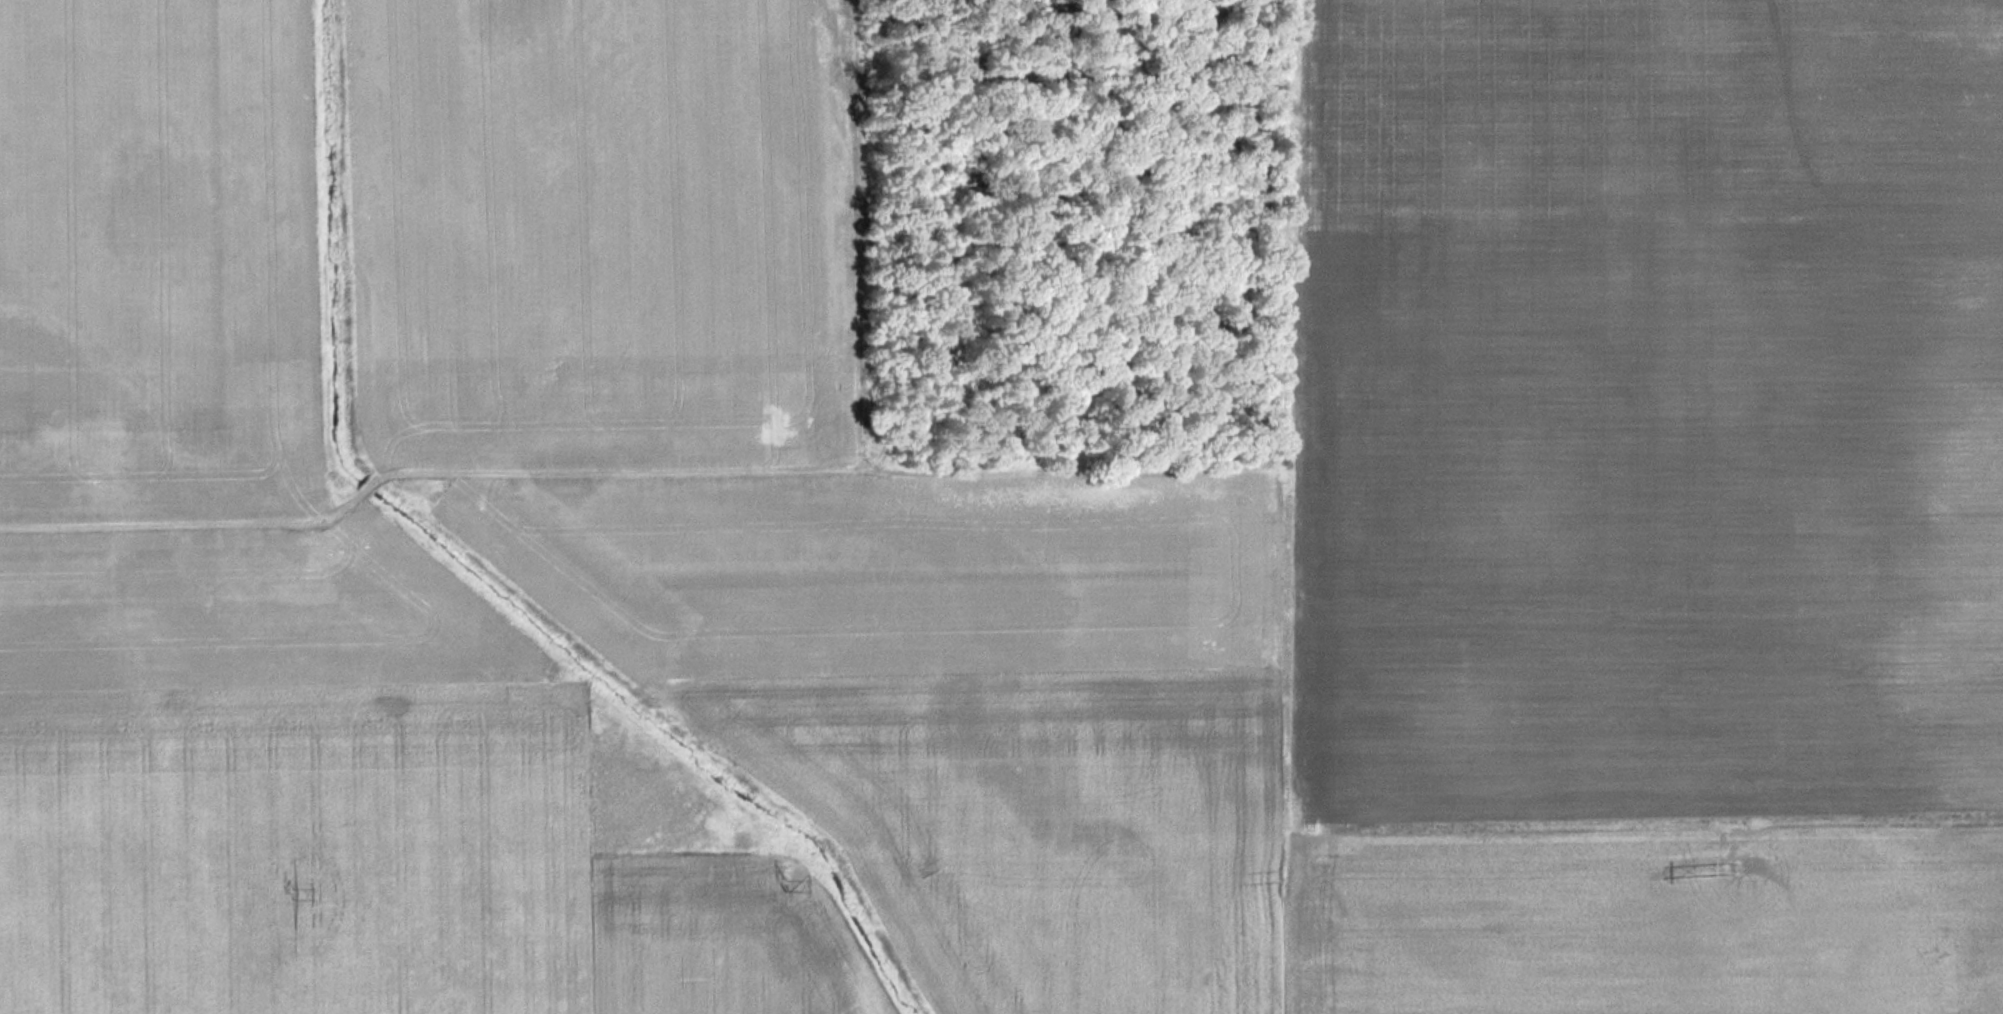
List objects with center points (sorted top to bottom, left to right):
power tower: (1744, 870)
power tower: (1295, 877)
power tower: (792, 886)
power tower: (298, 895)

